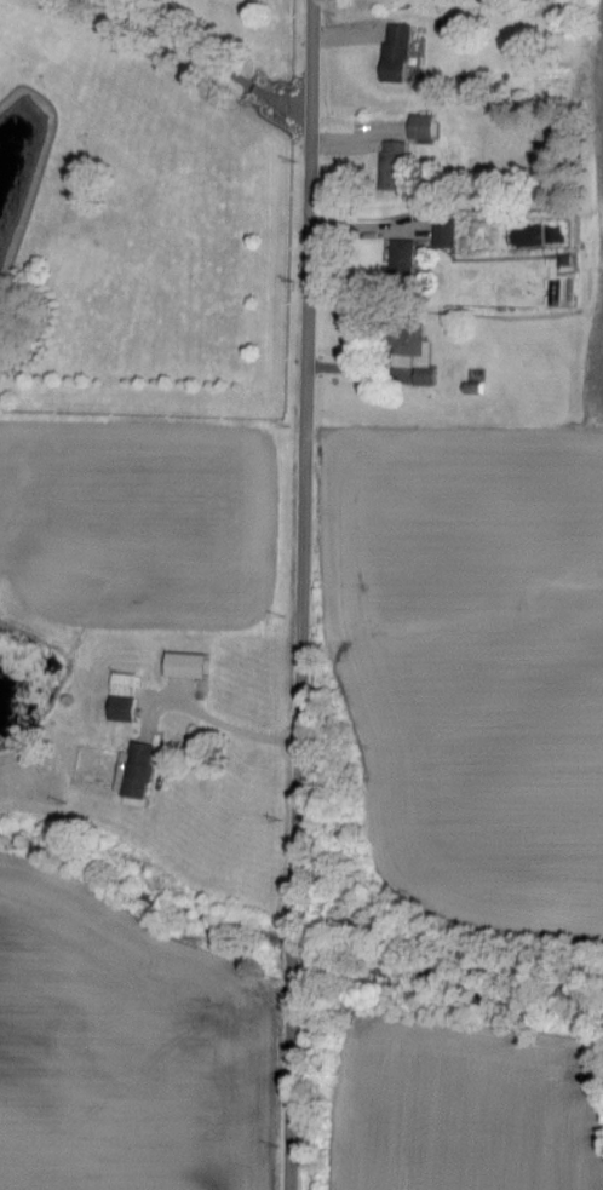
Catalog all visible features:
building: (454, 23)
building: (404, 53)
road: (212, 59)
building: (430, 127)
building: (401, 165)
building: (449, 232)
building: (410, 259)
building: (425, 355)
road: (303, 594)
building: (195, 666)
building: (131, 697)
road: (235, 724)
building: (142, 771)

